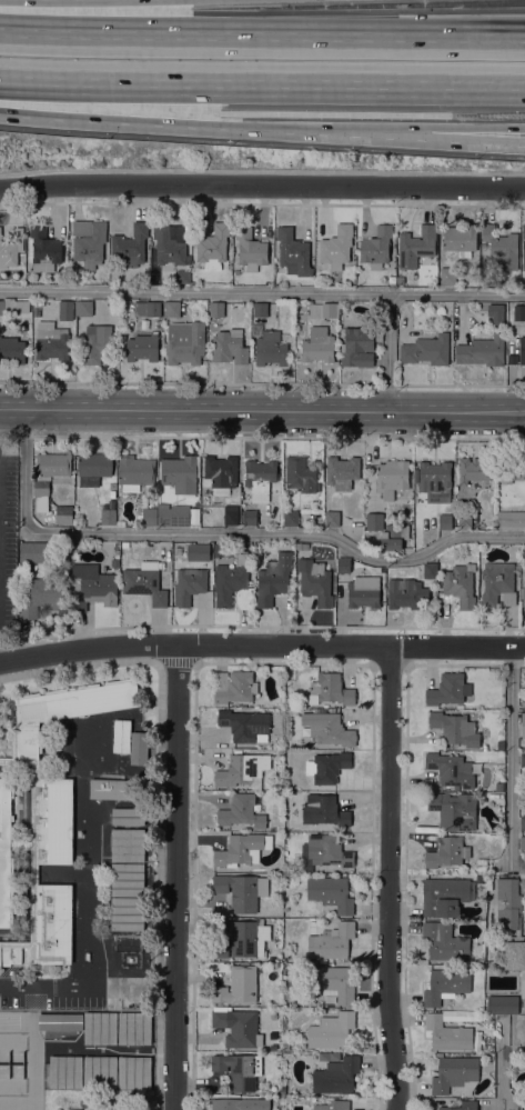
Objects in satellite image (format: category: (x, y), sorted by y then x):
road: (82, 10)
road: (262, 32)
road: (262, 88)
road: (111, 110)
road: (326, 134)
road: (478, 138)
road: (478, 142)
road: (262, 184)
building: (524, 232)
building: (20, 239)
building: (460, 239)
building: (88, 242)
building: (170, 243)
building: (130, 246)
building: (213, 246)
building: (336, 247)
building: (376, 247)
building: (416, 247)
building: (501, 247)
building: (42, 249)
building: (250, 249)
building: (293, 252)
building: (8, 253)
building: (182, 276)
building: (447, 276)
road: (262, 293)
building: (13, 307)
building: (83, 308)
building: (153, 308)
building: (172, 309)
building: (215, 309)
building: (260, 309)
building: (329, 309)
building: (65, 310)
building: (495, 311)
building: (518, 312)
building: (157, 322)
building: (185, 342)
building: (52, 343)
building: (94, 343)
building: (142, 347)
building: (229, 347)
building: (357, 347)
building: (270, 348)
building: (317, 348)
building: (426, 349)
building: (482, 349)
building: (522, 349)
building: (11, 350)
road: (392, 353)
road: (262, 410)
building: (93, 468)
building: (474, 469)
building: (512, 469)
building: (135, 470)
building: (342, 471)
building: (221, 472)
building: (180, 473)
building: (300, 473)
building: (48, 476)
building: (260, 478)
building: (391, 478)
building: (435, 481)
building: (63, 514)
building: (172, 514)
building: (230, 514)
building: (108, 516)
building: (149, 516)
building: (250, 517)
building: (291, 518)
building: (332, 518)
building: (511, 518)
building: (464, 519)
building: (374, 521)
building: (444, 521)
road: (219, 534)
building: (393, 536)
building: (124, 543)
parking lot: (8, 549)
building: (219, 549)
building: (34, 551)
building: (198, 551)
building: (117, 553)
building: (342, 564)
building: (430, 570)
building: (274, 578)
building: (229, 579)
building: (315, 580)
building: (145, 582)
building: (497, 583)
building: (189, 584)
building: (461, 584)
building: (91, 588)
building: (364, 591)
building: (406, 593)
building: (40, 596)
building: (523, 597)
road: (261, 646)
building: (234, 686)
building: (330, 689)
building: (448, 689)
building: (61, 710)
building: (244, 724)
building: (523, 724)
building: (327, 728)
building: (455, 728)
building: (122, 736)
building: (499, 743)
building: (485, 746)
building: (138, 748)
road: (511, 756)
building: (523, 759)
building: (23, 762)
building: (327, 767)
building: (451, 769)
building: (243, 770)
building: (501, 788)
building: (114, 789)
building: (323, 810)
building: (454, 810)
building: (241, 811)
building: (128, 816)
building: (51, 820)
building: (523, 822)
building: (523, 842)
building: (20, 844)
building: (128, 844)
building: (242, 849)
building: (327, 850)
building: (6, 852)
building: (447, 852)
building: (33, 873)
road: (179, 877)
building: (127, 879)
road: (391, 879)
building: (241, 890)
building: (330, 892)
building: (524, 893)
building: (445, 896)
building: (507, 902)
building: (127, 913)
building: (50, 923)
building: (248, 937)
building: (331, 941)
building: (444, 941)
building: (26, 943)
building: (220, 948)
building: (10, 952)
building: (512, 957)
building: (332, 982)
road: (89, 984)
building: (238, 986)
building: (445, 986)
building: (502, 1003)
building: (60, 1021)
building: (238, 1027)
building: (100, 1028)
building: (134, 1028)
building: (331, 1030)
building: (447, 1033)
building: (285, 1047)
road: (498, 1067)
building: (239, 1070)
building: (65, 1071)
building: (100, 1071)
building: (134, 1072)
building: (336, 1074)
building: (455, 1074)
building: (282, 1100)
building: (240, 1104)
building: (333, 1106)
building: (462, 1106)
building: (72, 1109)

